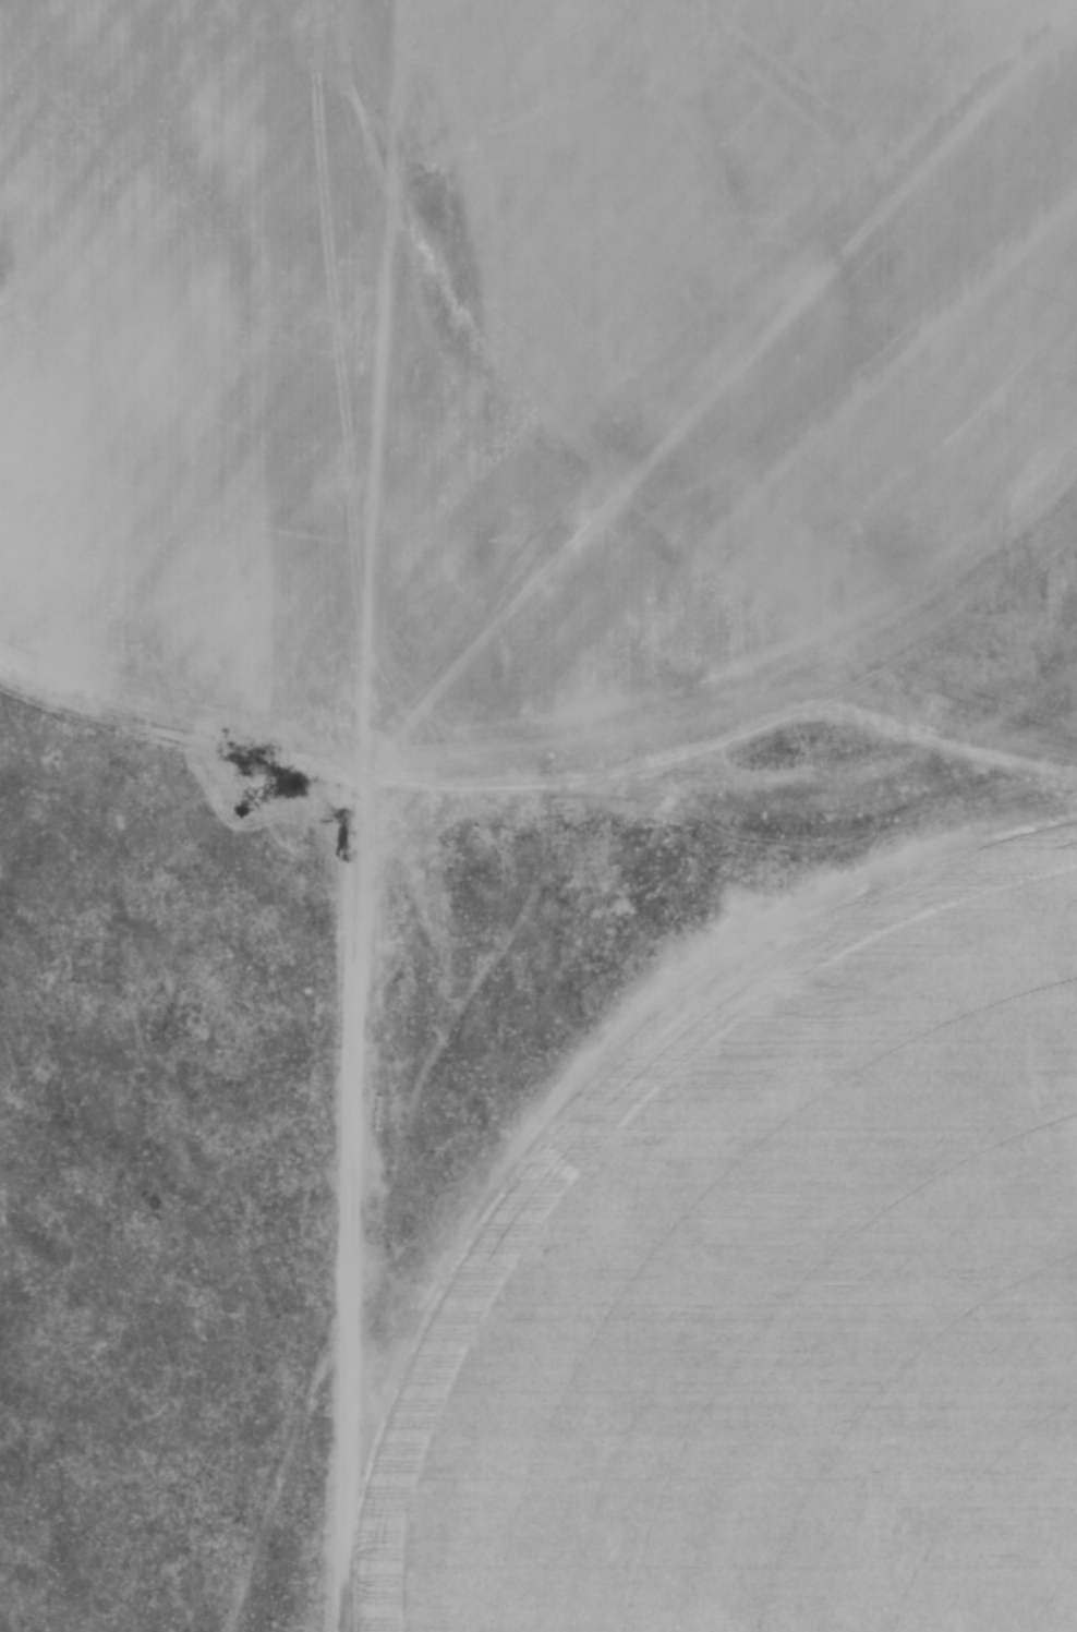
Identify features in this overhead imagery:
crop: (517, 344)
crop: (778, 1302)

